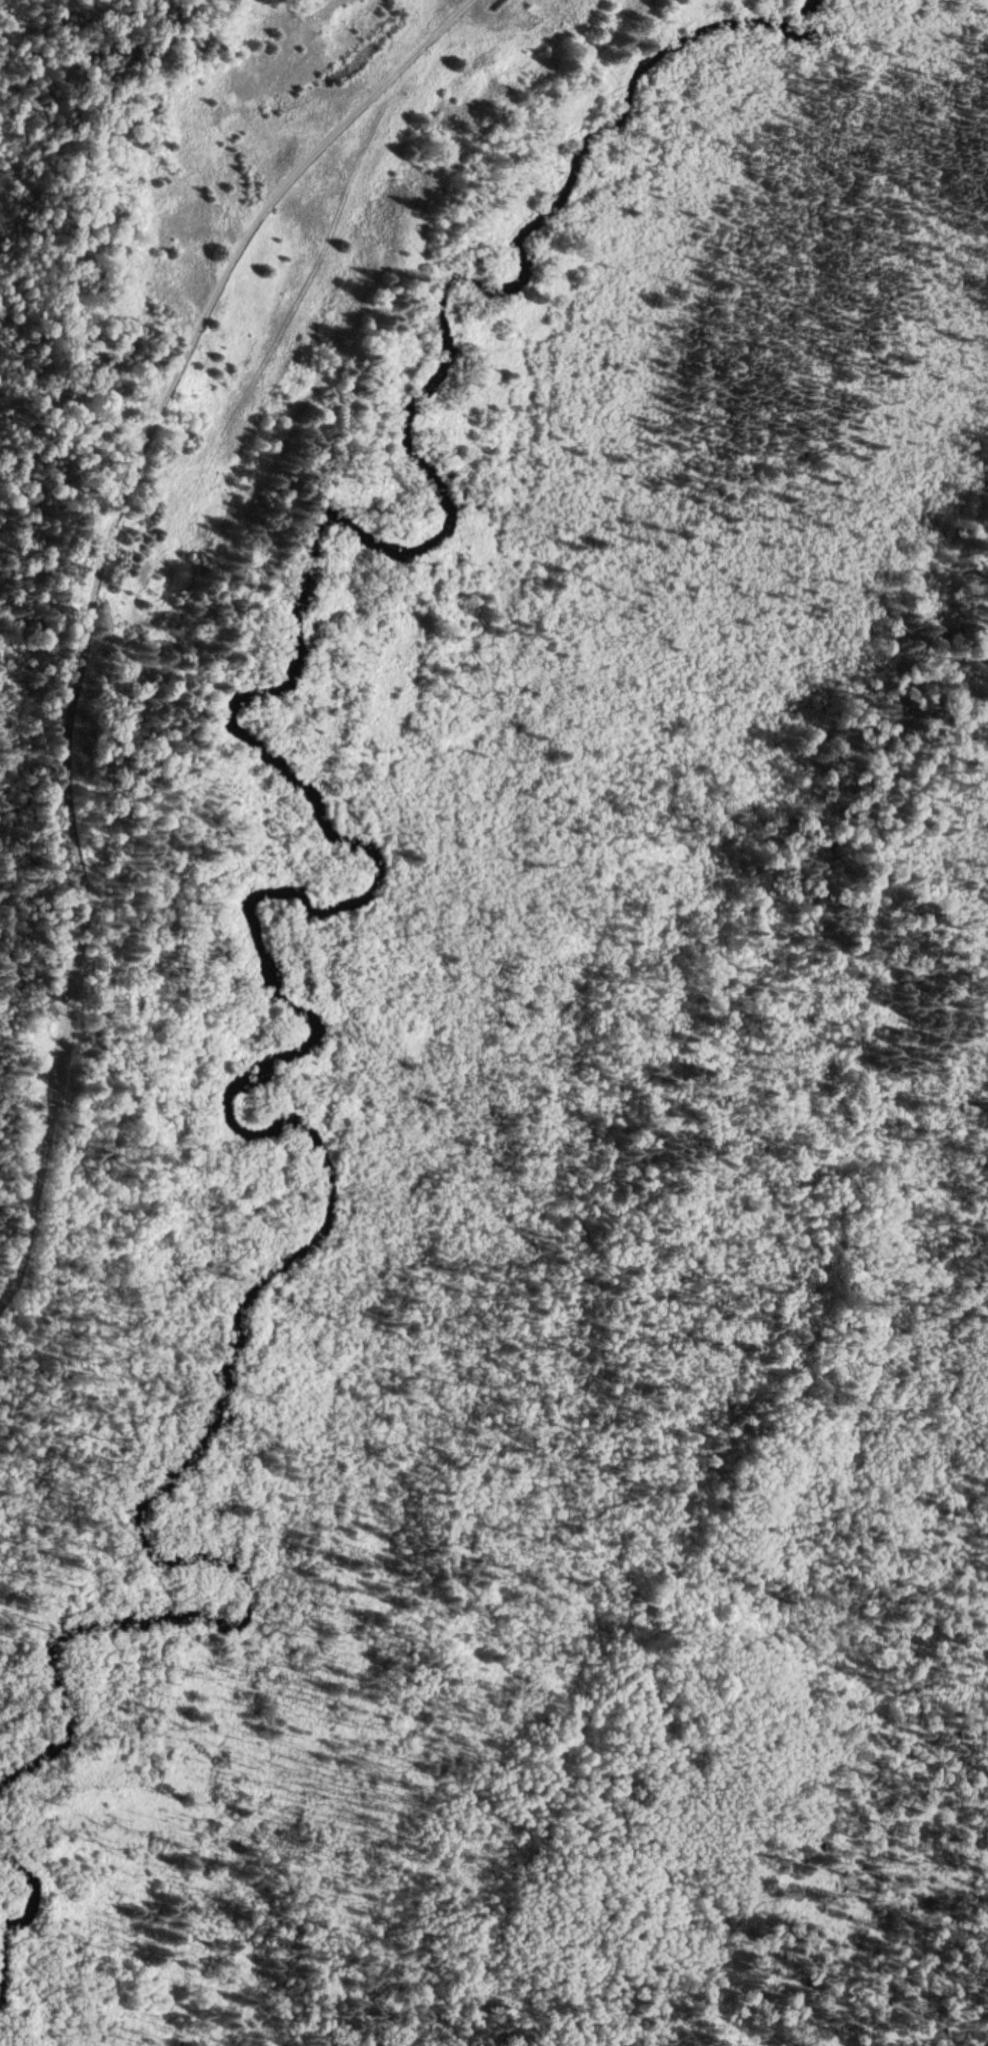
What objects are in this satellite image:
road: (414, 58)

